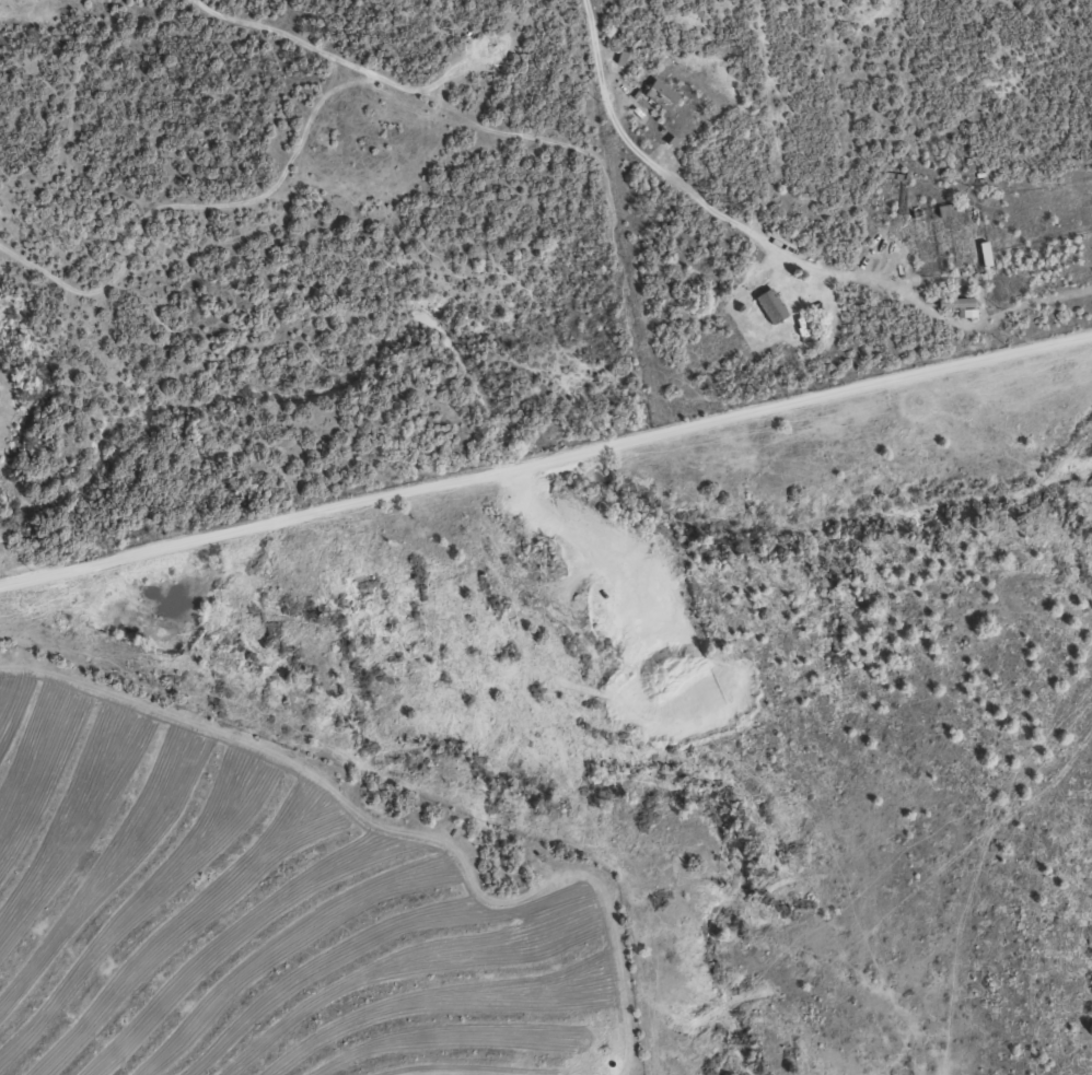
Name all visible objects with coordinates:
road: (393, 85)
building: (658, 94)
building: (768, 305)
building: (956, 305)
road: (546, 463)

